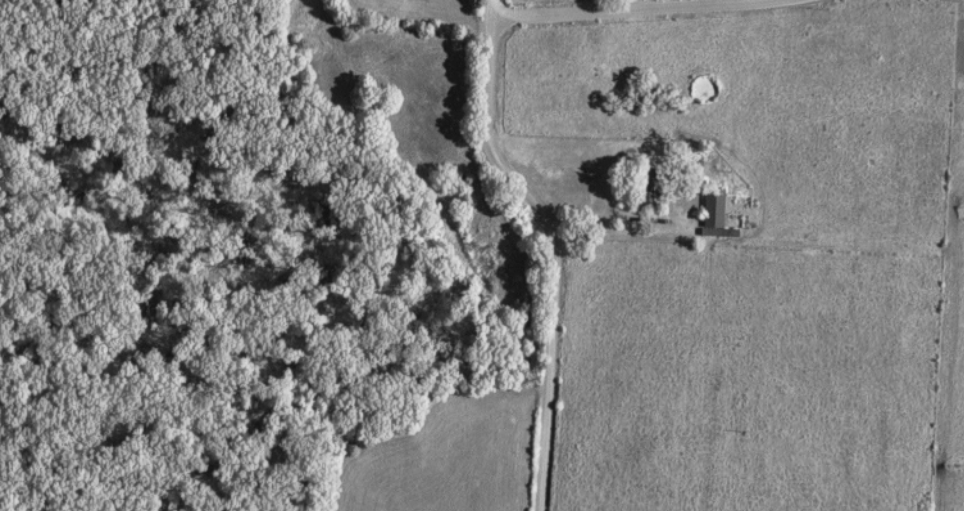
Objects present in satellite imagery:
road: (648, 9)
building: (647, 186)
building: (709, 211)
road: (558, 245)

